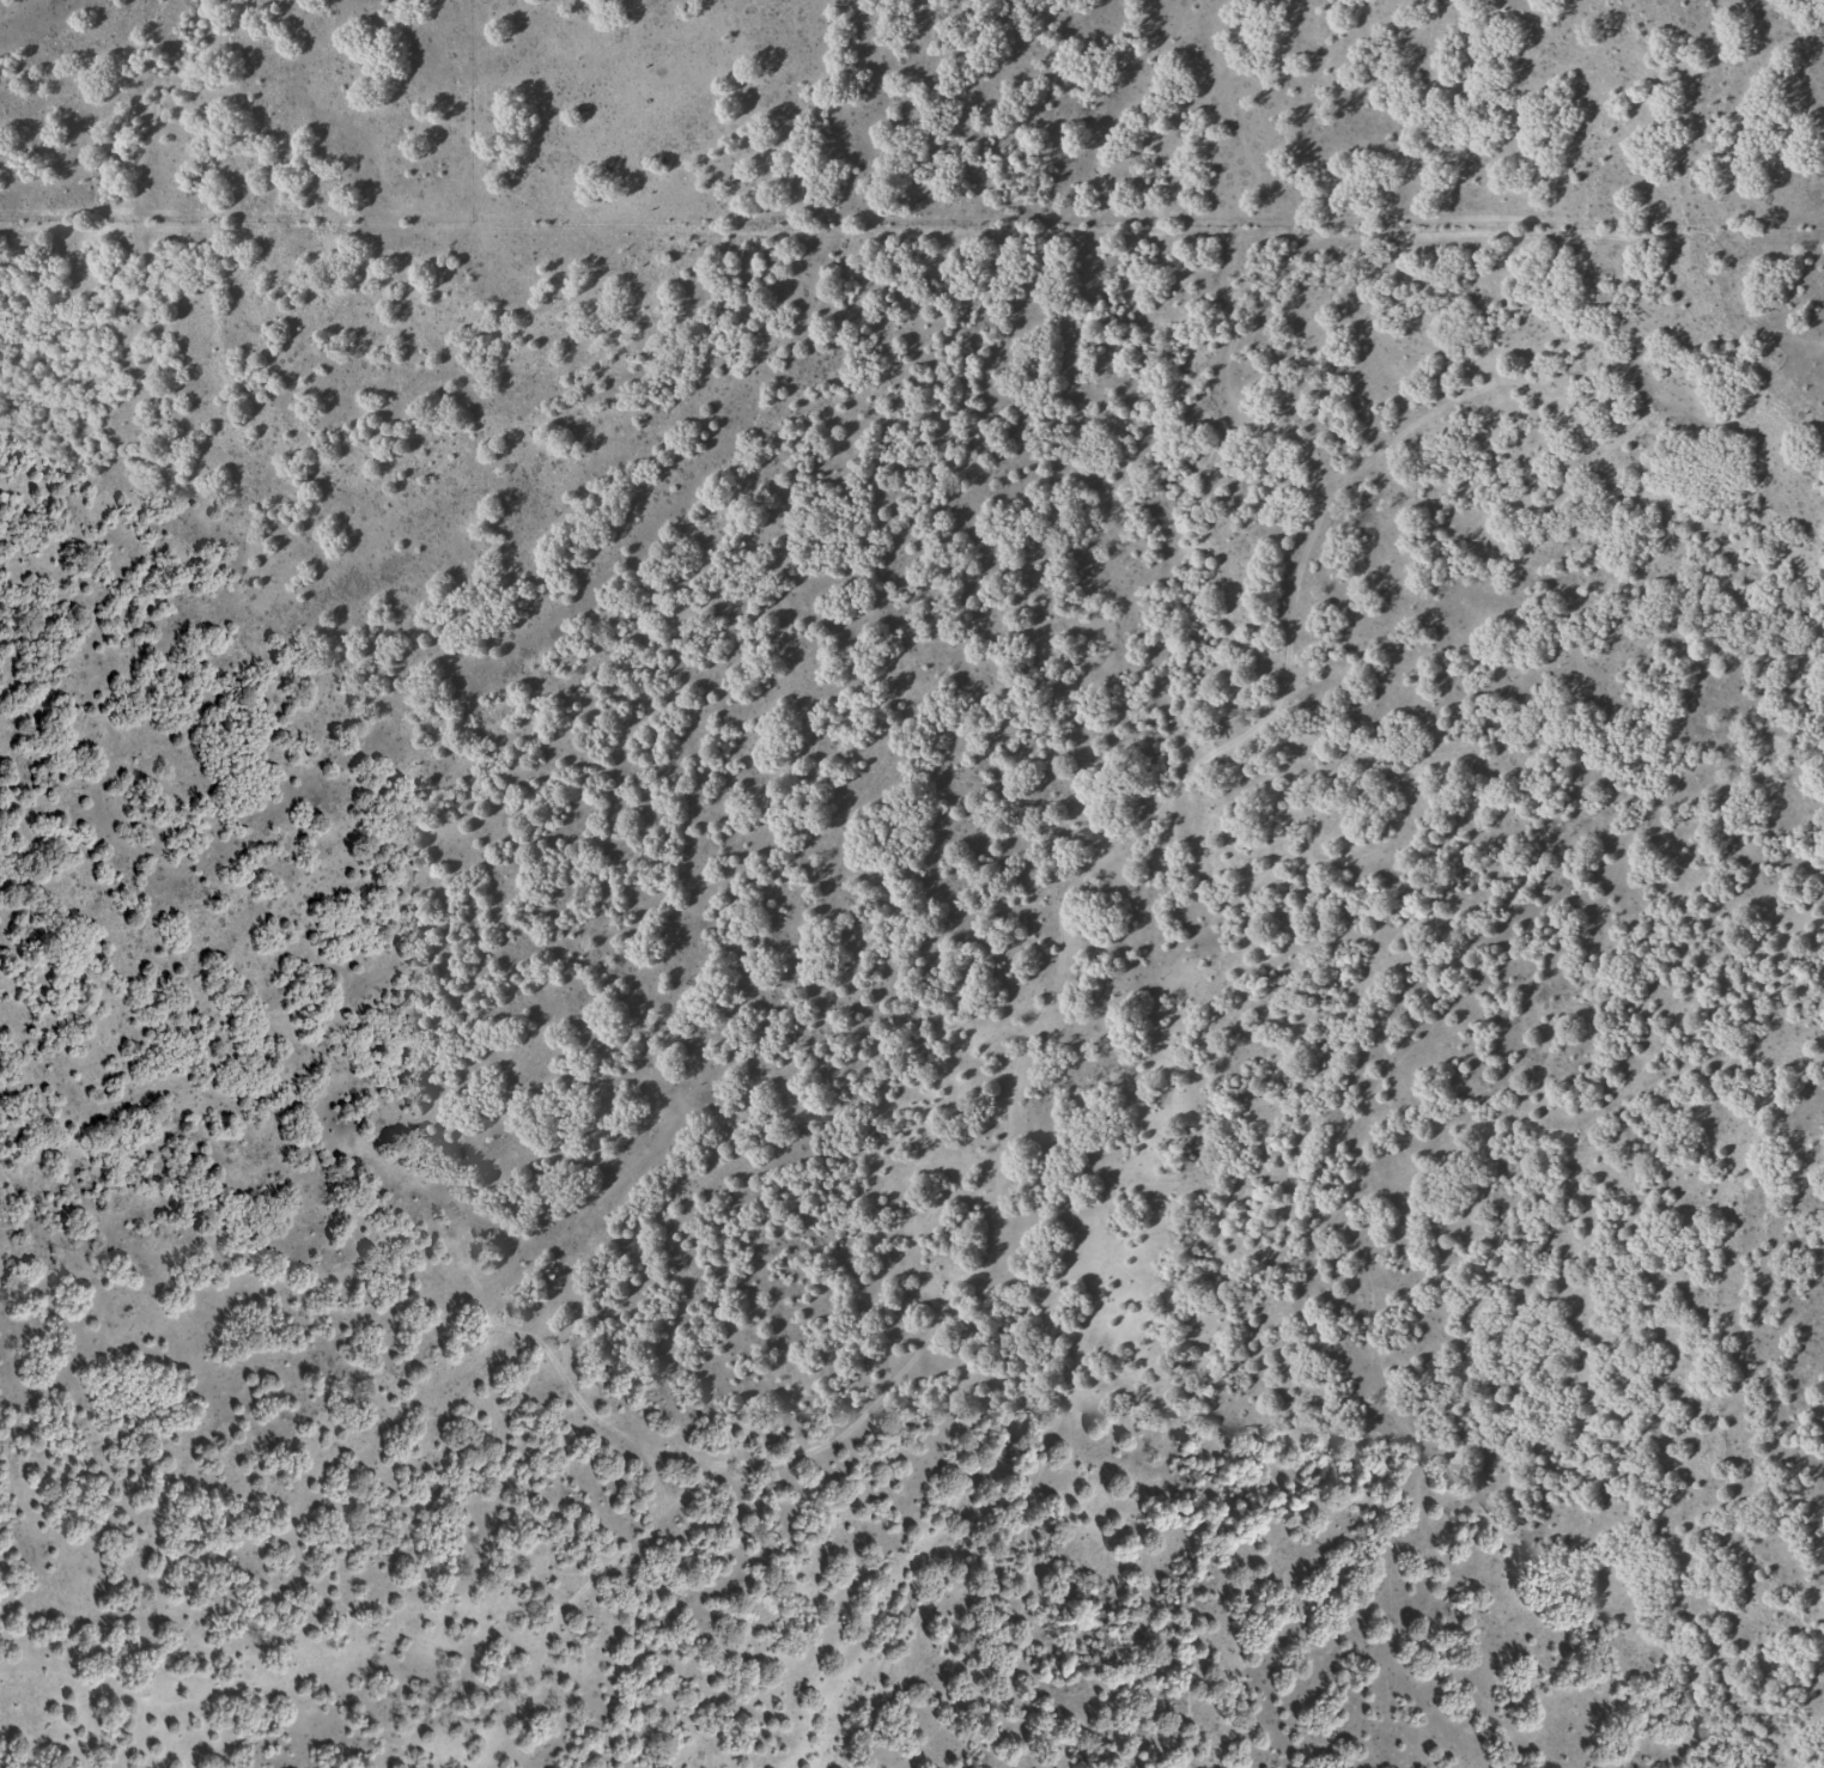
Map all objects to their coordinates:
road: (1057, 962)

